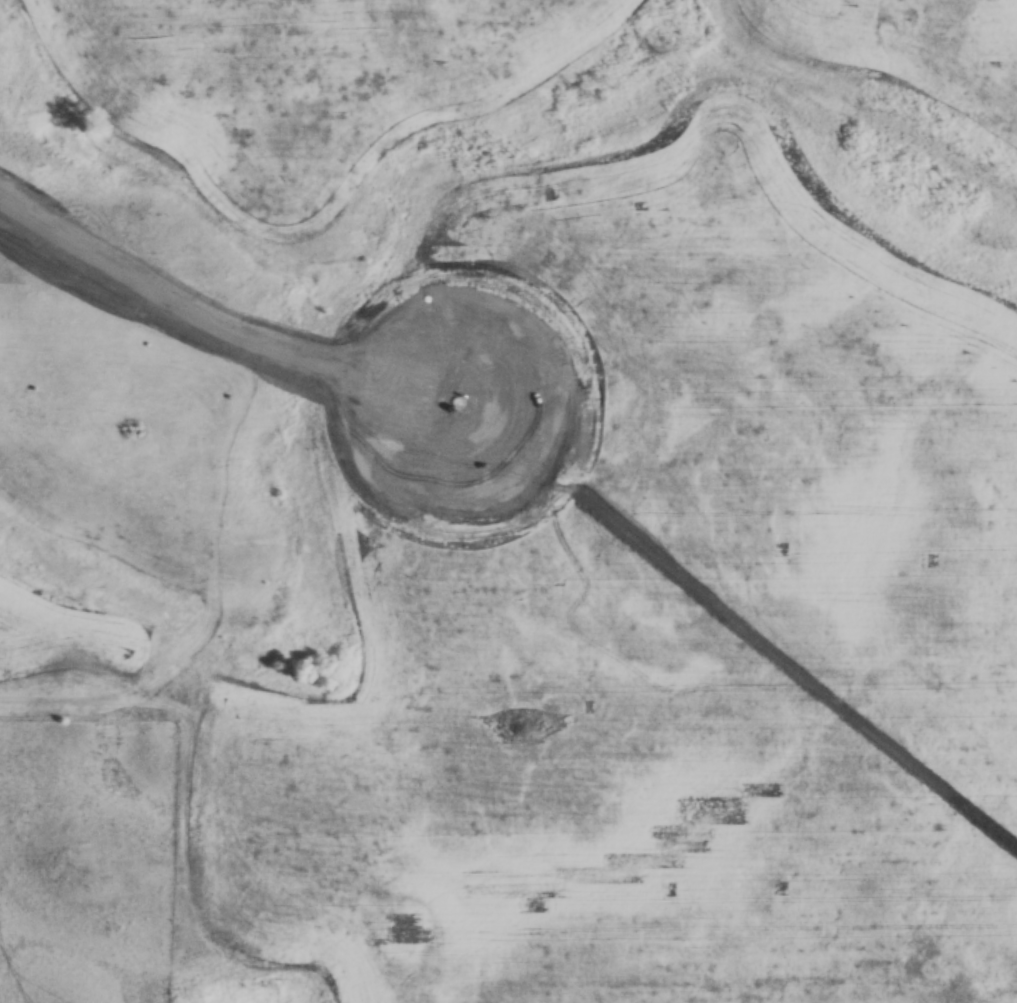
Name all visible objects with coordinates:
wind turbine: (463, 415)

